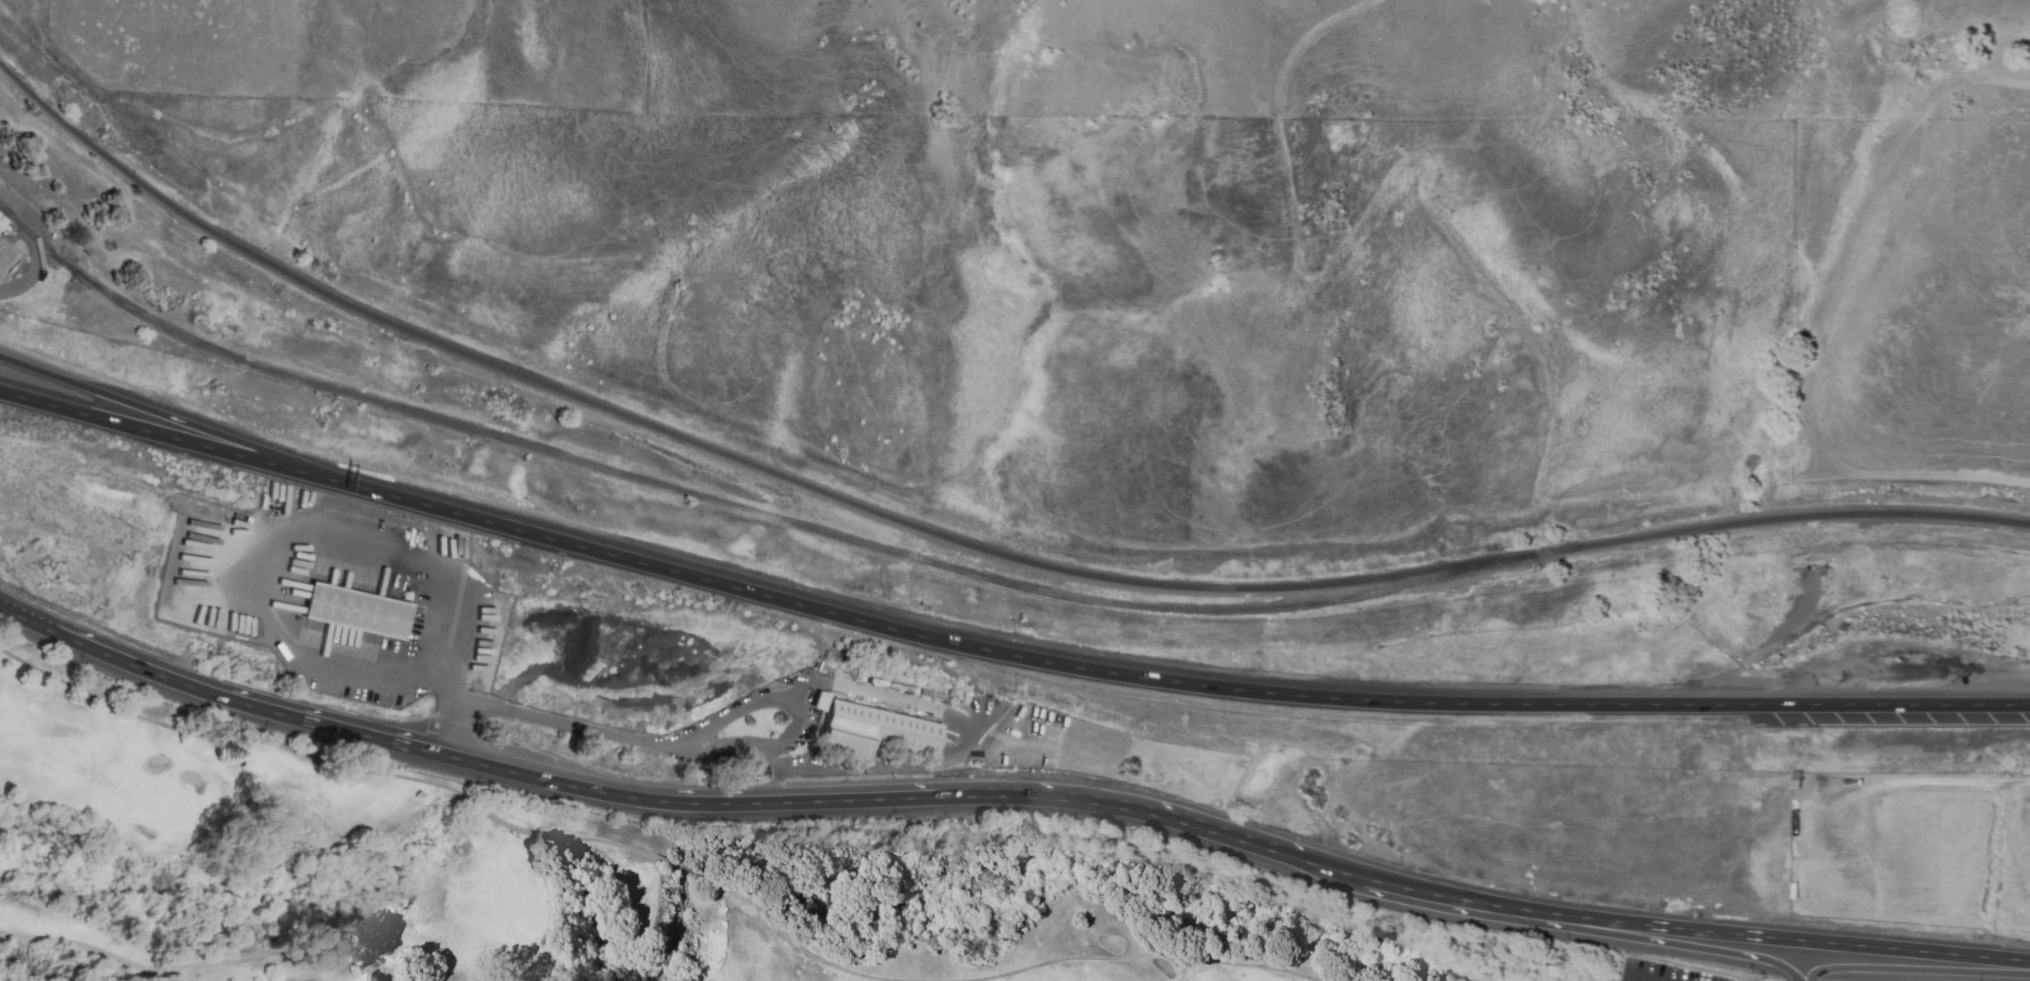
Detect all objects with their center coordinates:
road: (1299, 46)
road: (1425, 181)
building: (0, 221)
road: (1857, 237)
road: (35, 245)
road: (181, 421)
road: (180, 440)
railway: (723, 500)
road: (294, 526)
railway: (957, 541)
building: (355, 611)
building: (343, 635)
road: (1046, 661)
road: (797, 691)
road: (213, 695)
building: (818, 700)
road: (763, 704)
road: (1891, 705)
road: (443, 730)
building: (872, 731)
road: (605, 733)
road: (222, 737)
road: (951, 760)
road: (593, 791)
road: (1036, 798)
road: (471, 802)
road: (507, 825)
road: (550, 837)
road: (620, 848)
road: (681, 867)
park: (648, 870)
road: (1417, 891)
road: (781, 934)
road: (1777, 938)
road: (1663, 942)
road: (1151, 956)
road: (189, 967)
road: (1917, 970)
park: (1911, 976)
road: (1633, 978)

